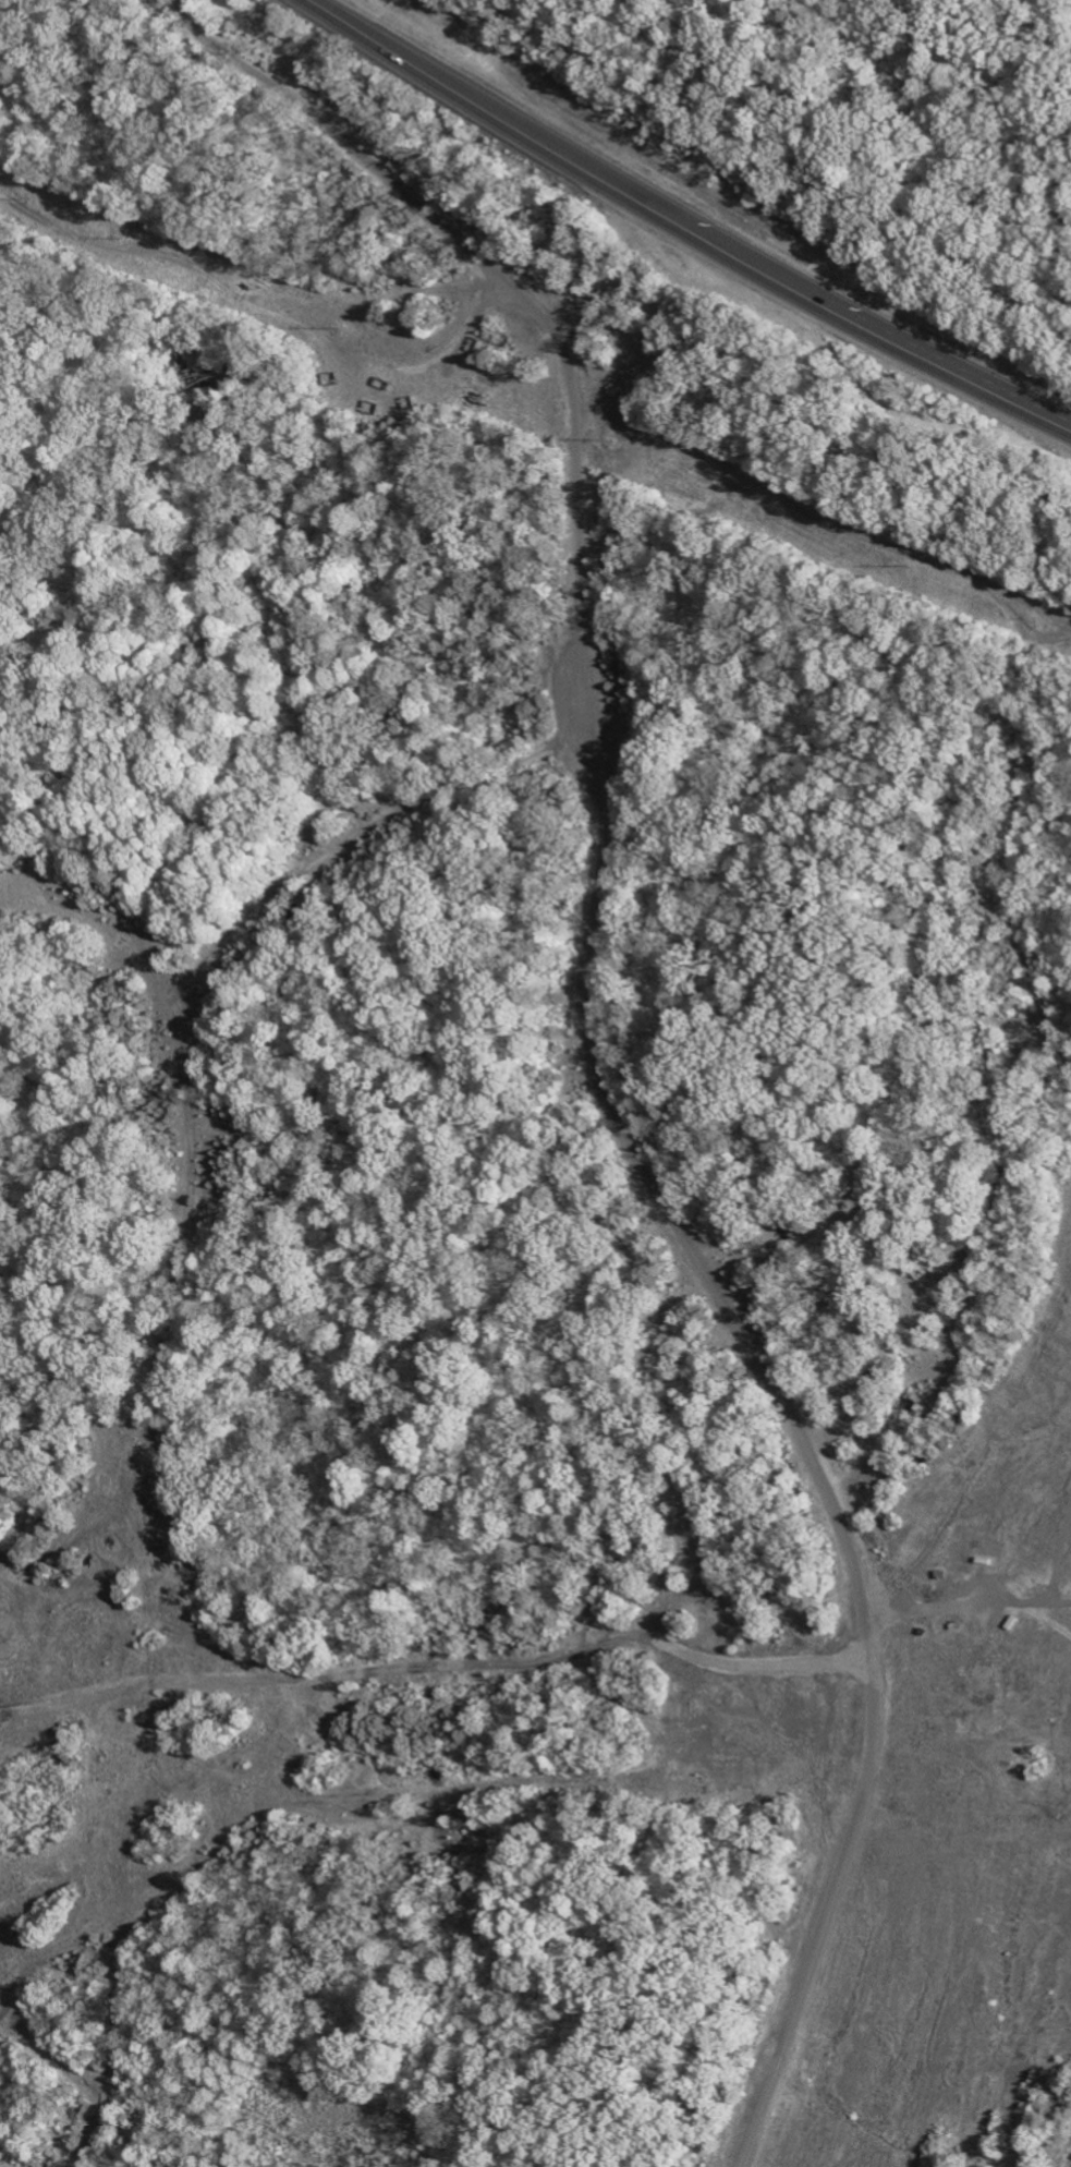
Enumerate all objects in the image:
road: (683, 228)
road: (591, 1040)
road: (933, 1608)

